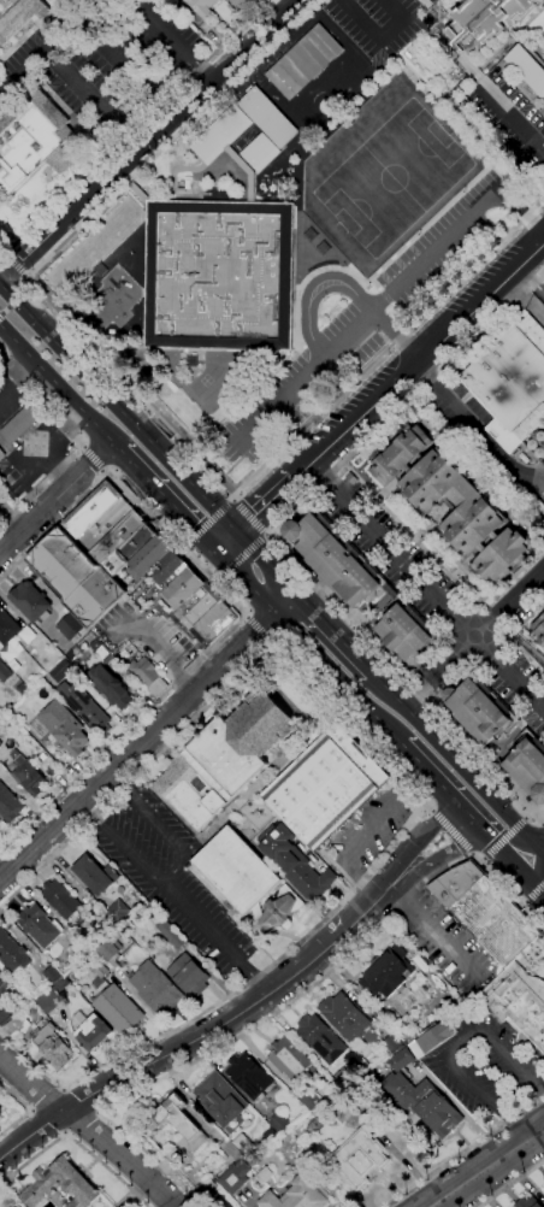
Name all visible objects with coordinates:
building: (433, 0)
building: (242, 4)
building: (201, 7)
building: (18, 16)
street lamp: (368, 16)
street lamp: (331, 18)
building: (483, 22)
parking lot: (376, 25)
road: (380, 37)
road: (170, 41)
road: (51, 47)
road: (118, 52)
road: (378, 55)
parking lot: (104, 59)
street lamp: (369, 59)
building: (303, 61)
building: (527, 65)
road: (148, 89)
road: (433, 92)
road: (164, 99)
road: (91, 100)
building: (542, 111)
road: (512, 117)
building: (244, 125)
road: (135, 129)
road: (147, 140)
building: (32, 141)
building: (260, 153)
road: (175, 170)
road: (248, 170)
building: (250, 173)
road: (521, 175)
park: (392, 177)
street lamp: (463, 189)
road: (137, 190)
building: (140, 193)
road: (520, 212)
street lamp: (419, 232)
road: (433, 248)
street lamp: (343, 265)
road: (16, 266)
building: (219, 276)
road: (528, 278)
road: (366, 281)
road: (373, 285)
road: (26, 289)
road: (314, 289)
road: (385, 296)
street lamp: (325, 298)
road: (14, 300)
road: (5, 310)
road: (0, 313)
road: (401, 314)
street lamp: (320, 325)
road: (1, 328)
street lamp: (378, 330)
road: (416, 357)
road: (317, 360)
park: (206, 379)
building: (512, 383)
road: (60, 389)
road: (136, 391)
parking lot: (354, 395)
road: (451, 404)
road: (116, 408)
road: (155, 416)
building: (19, 424)
gas station: (19, 424)
road: (250, 431)
road: (286, 437)
road: (81, 443)
building: (1, 455)
road: (91, 463)
building: (351, 478)
road: (230, 495)
road: (55, 499)
road: (168, 501)
building: (453, 501)
road: (262, 504)
road: (143, 507)
building: (531, 507)
building: (93, 508)
road: (248, 517)
road: (10, 522)
road: (209, 522)
building: (106, 524)
road: (53, 526)
traffic signals: (233, 530)
road: (267, 534)
building: (118, 536)
road: (274, 537)
road: (224, 540)
road: (176, 547)
road: (184, 547)
traffic signals: (215, 549)
road: (242, 553)
building: (149, 557)
building: (332, 559)
road: (264, 563)
building: (167, 569)
building: (87, 571)
road: (215, 579)
road: (247, 581)
building: (380, 581)
road: (425, 583)
building: (184, 587)
building: (30, 601)
building: (193, 602)
road: (286, 605)
building: (202, 608)
building: (208, 619)
building: (7, 628)
building: (69, 628)
building: (218, 628)
building: (538, 630)
road: (259, 631)
road: (333, 634)
building: (404, 634)
building: (26, 635)
road: (472, 638)
building: (101, 650)
building: (8, 652)
building: (4, 672)
building: (59, 672)
building: (148, 675)
building: (432, 677)
road: (339, 679)
building: (110, 687)
building: (83, 706)
building: (479, 708)
building: (63, 734)
road: (123, 734)
building: (0, 743)
road: (138, 747)
building: (224, 759)
road: (456, 763)
building: (528, 765)
building: (26, 773)
road: (409, 784)
building: (325, 785)
road: (445, 790)
road: (471, 799)
building: (8, 805)
road: (428, 805)
road: (530, 814)
building: (0, 824)
road: (451, 830)
road: (505, 838)
road: (420, 843)
road: (543, 852)
road: (505, 853)
traffic signals: (542, 853)
road: (543, 853)
road: (473, 855)
road: (485, 860)
road: (437, 862)
building: (296, 864)
road: (170, 870)
traffic signals: (521, 870)
road: (539, 870)
building: (237, 871)
building: (95, 875)
road: (532, 882)
road: (536, 893)
building: (60, 899)
road: (528, 906)
building: (280, 908)
building: (118, 911)
building: (485, 912)
building: (106, 924)
building: (37, 925)
road: (431, 932)
building: (171, 934)
road: (214, 937)
building: (12, 952)
building: (66, 965)
building: (386, 972)
building: (53, 973)
building: (189, 976)
building: (4, 987)
building: (156, 991)
building: (51, 996)
building: (518, 1002)
road: (280, 1008)
building: (119, 1009)
building: (4, 1015)
building: (344, 1017)
building: (17, 1025)
building: (93, 1032)
road: (200, 1032)
building: (320, 1038)
building: (433, 1038)
building: (53, 1046)
building: (289, 1059)
building: (401, 1060)
road: (512, 1066)
building: (249, 1077)
road: (472, 1083)
road: (45, 1099)
building: (308, 1099)
road: (81, 1100)
building: (221, 1100)
building: (424, 1102)
road: (26, 1109)
building: (343, 1111)
road: (47, 1120)
road: (82, 1121)
building: (278, 1121)
building: (178, 1124)
road: (88, 1127)
road: (537, 1134)
road: (77, 1137)
building: (243, 1144)
building: (230, 1150)
road: (462, 1150)
building: (359, 1158)
road: (479, 1172)
building: (264, 1176)
building: (235, 1177)
building: (76, 1182)
road: (509, 1182)
building: (543, 1190)
building: (207, 1194)
building: (298, 1195)
building: (528, 1202)
building: (13, 1206)
building: (19, 1206)

